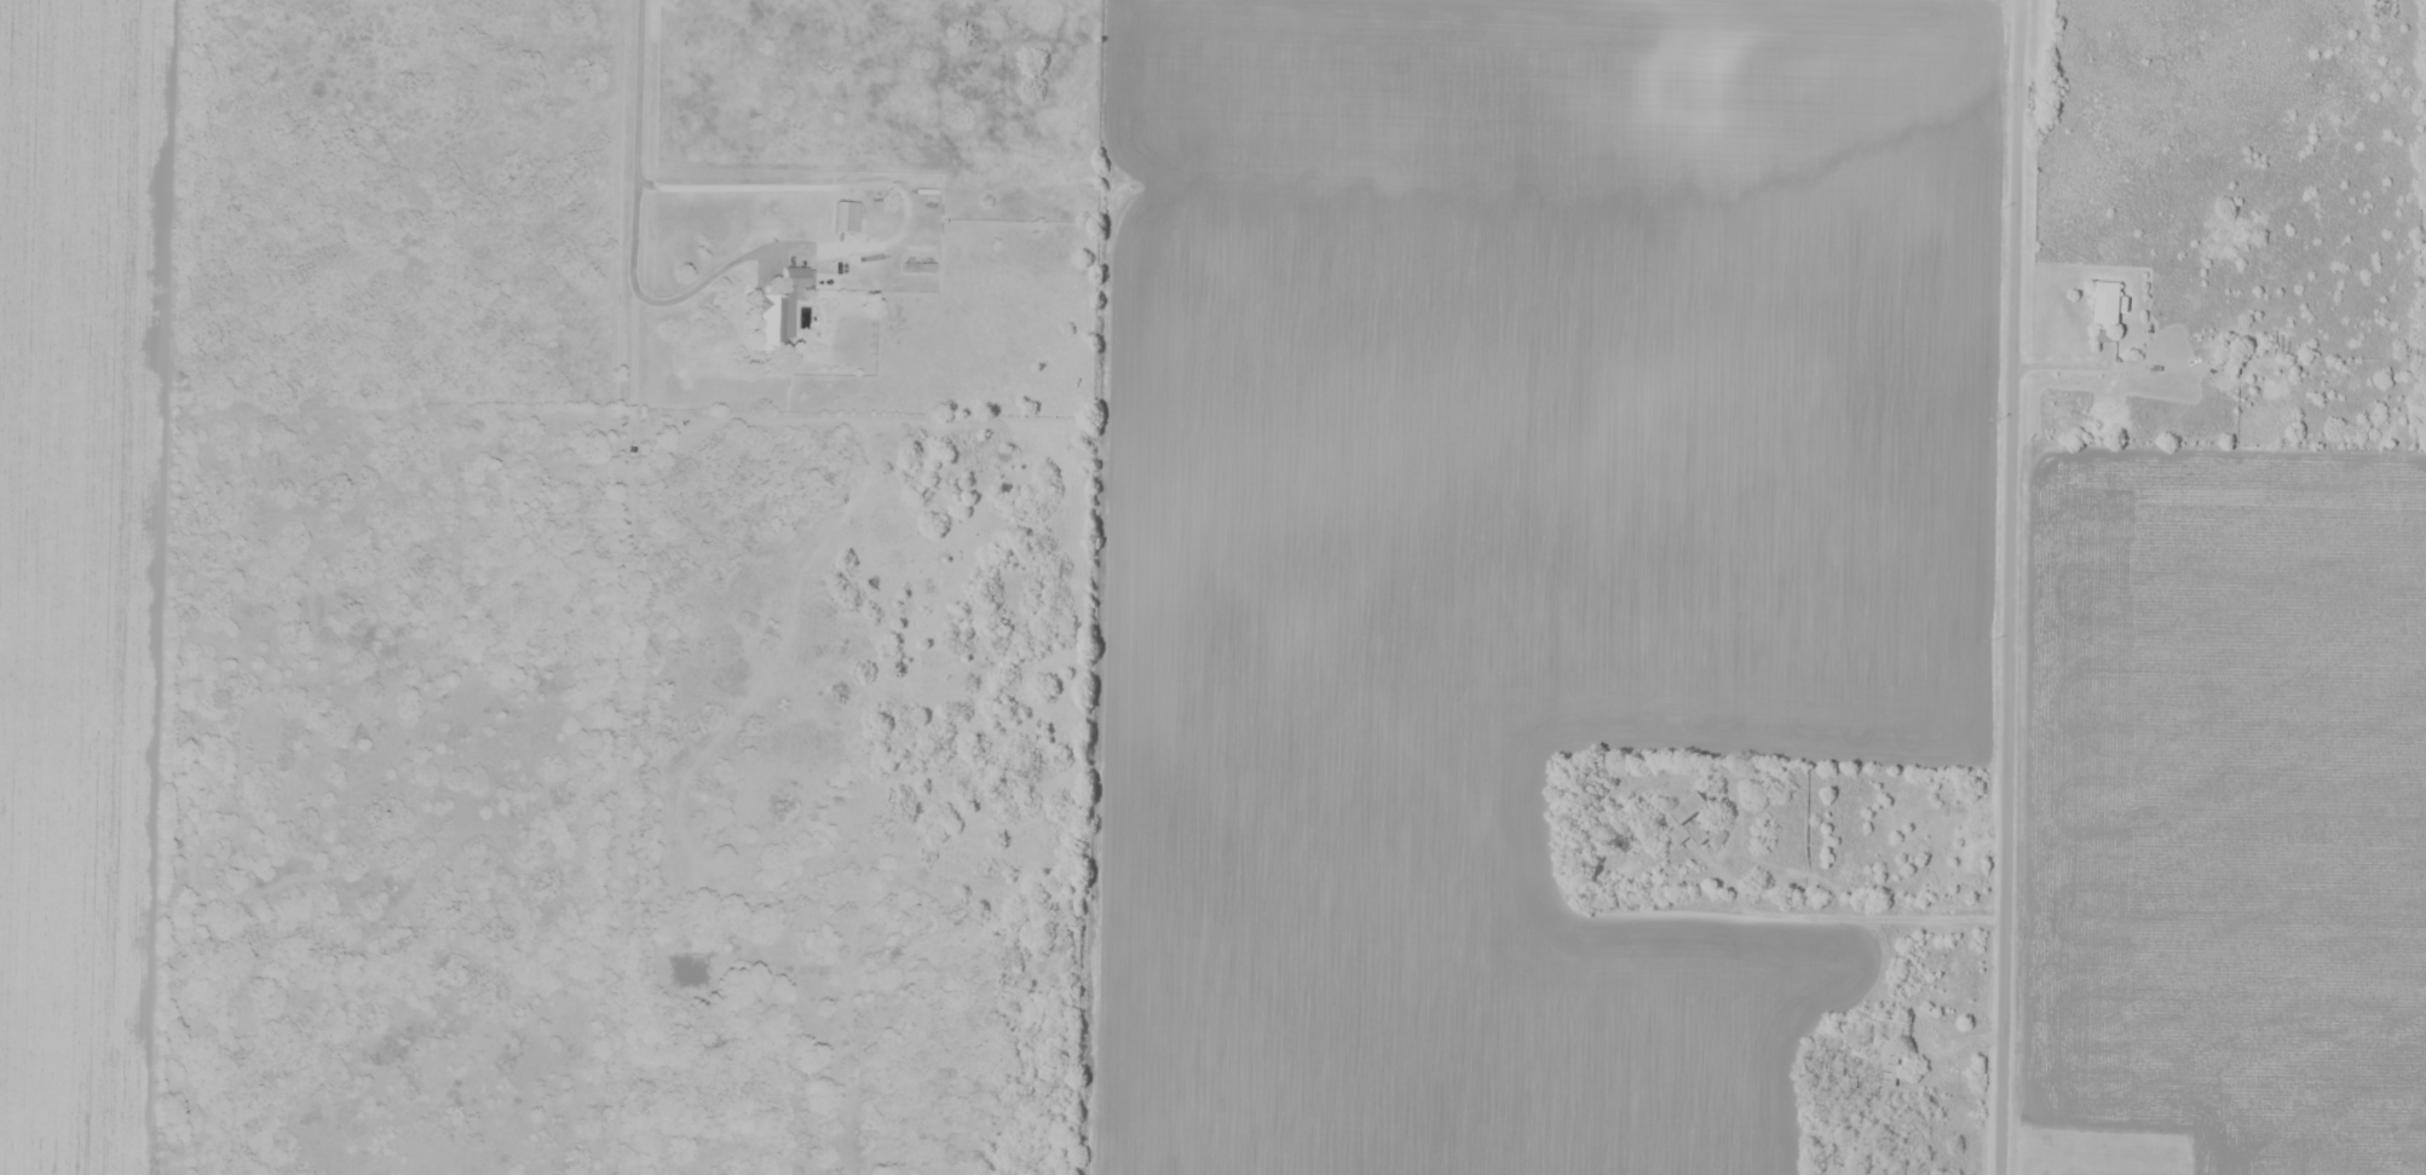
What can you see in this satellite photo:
road: (635, 138)
building: (843, 215)
building: (2107, 303)
building: (783, 310)
road: (2016, 587)
building: (1692, 822)
building: (1618, 834)
road: (1839, 916)
road: (1936, 1021)
building: (1891, 1053)

